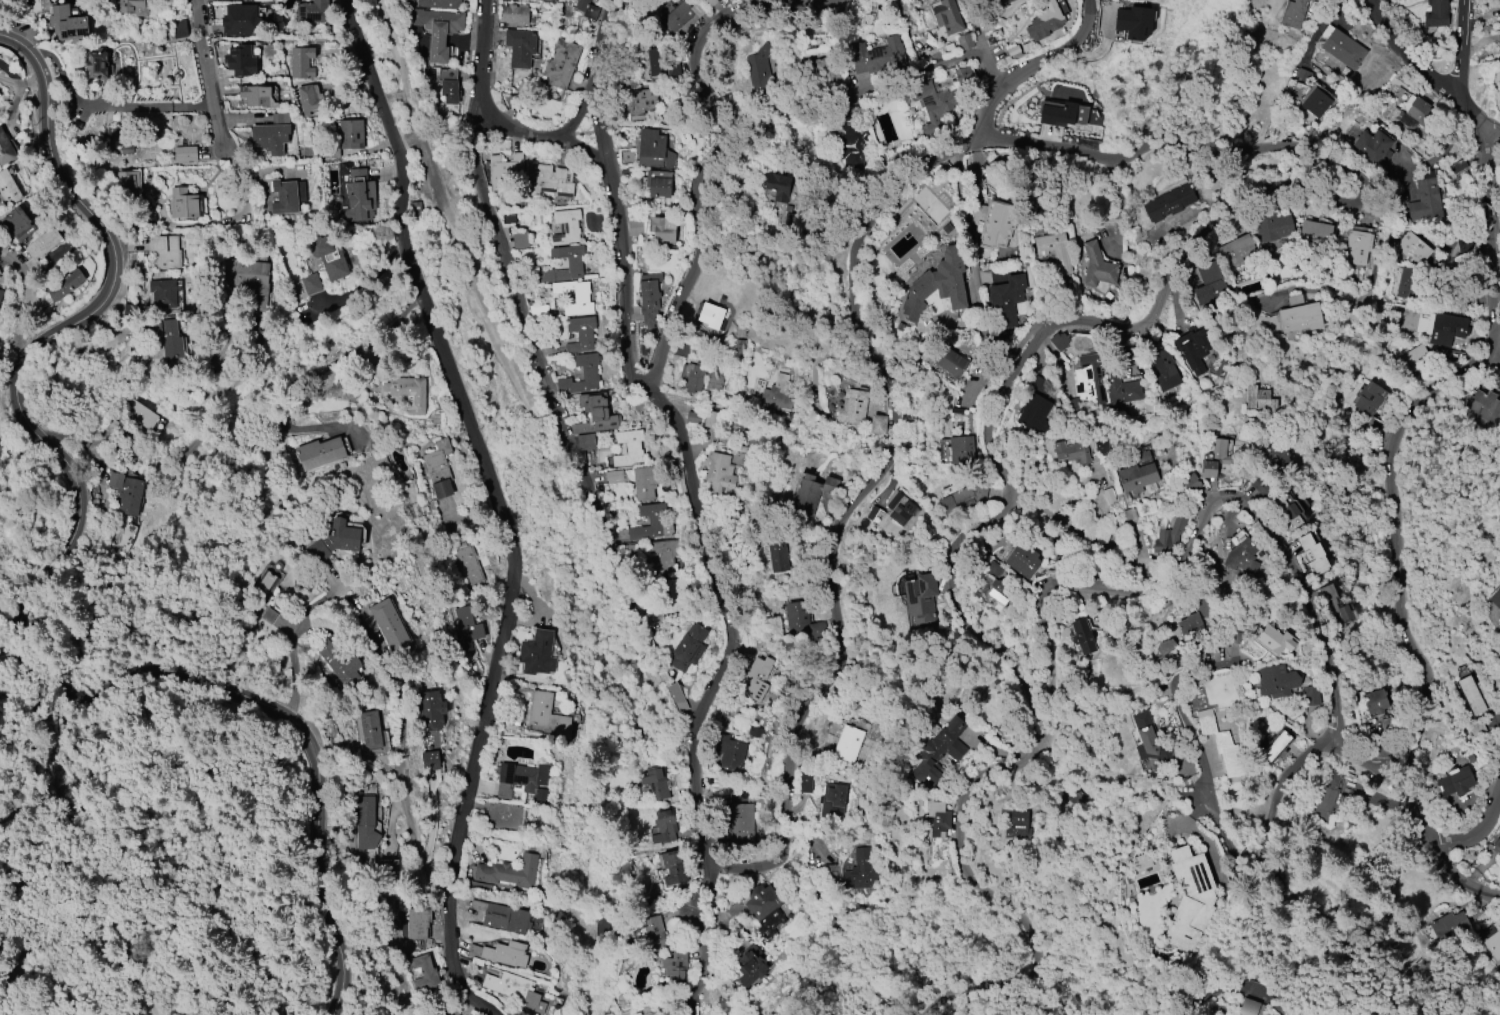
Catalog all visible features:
building: (407, 0)
building: (991, 0)
building: (266, 1)
building: (712, 2)
building: (439, 3)
building: (965, 4)
building: (134, 7)
building: (587, 9)
building: (314, 11)
building: (1293, 13)
building: (515, 14)
building: (683, 14)
building: (1436, 14)
building: (1048, 15)
building: (948, 17)
building: (241, 20)
building: (68, 24)
building: (1132, 24)
building: (180, 29)
building: (438, 30)
building: (1499, 37)
building: (965, 41)
road: (493, 44)
building: (520, 48)
building: (1344, 49)
road: (1459, 49)
road: (469, 52)
building: (876, 56)
building: (241, 60)
building: (302, 63)
building: (561, 63)
building: (662, 63)
building: (97, 65)
road: (1031, 66)
building: (759, 68)
road: (401, 69)
road: (925, 74)
road: (1429, 74)
building: (963, 75)
road: (208, 80)
building: (449, 84)
road: (20, 85)
road: (485, 87)
building: (257, 96)
building: (309, 98)
building: (354, 100)
building: (639, 103)
building: (1315, 103)
building: (931, 104)
road: (105, 107)
building: (1417, 110)
road: (459, 111)
building: (1069, 114)
road: (467, 118)
road: (502, 125)
road: (581, 132)
building: (271, 134)
building: (351, 134)
building: (854, 144)
building: (1372, 146)
road: (718, 147)
building: (5, 150)
building: (653, 150)
road: (588, 152)
building: (331, 153)
building: (185, 154)
building: (627, 157)
building: (504, 172)
road: (431, 173)
road: (892, 175)
building: (550, 181)
building: (658, 183)
building: (778, 186)
building: (8, 189)
building: (360, 194)
road: (613, 194)
building: (284, 197)
building: (1168, 202)
building: (1426, 202)
building: (186, 206)
road: (76, 209)
building: (17, 224)
building: (997, 224)
road: (847, 225)
building: (566, 226)
building: (1271, 226)
building: (663, 229)
building: (1315, 232)
building: (520, 239)
road: (1487, 240)
building: (1357, 247)
building: (1411, 247)
building: (40, 249)
building: (1054, 250)
building: (1235, 250)
building: (165, 251)
building: (826, 255)
building: (329, 258)
building: (574, 263)
building: (1097, 266)
building: (256, 282)
building: (1402, 282)
building: (65, 284)
building: (312, 284)
building: (1209, 284)
building: (937, 286)
building: (161, 292)
building: (0, 293)
building: (574, 296)
building: (649, 297)
road: (28, 300)
road: (520, 300)
building: (1005, 300)
building: (709, 315)
building: (1299, 315)
road: (488, 317)
road: (978, 329)
building: (1446, 329)
building: (581, 334)
building: (168, 338)
building: (1059, 341)
building: (1194, 349)
road: (1496, 354)
building: (1414, 357)
building: (950, 362)
building: (1163, 370)
building: (584, 372)
building: (715, 375)
building: (692, 378)
building: (1087, 378)
road: (300, 385)
road: (1007, 386)
building: (1120, 386)
building: (408, 392)
building: (778, 393)
building: (1369, 398)
building: (1260, 400)
building: (853, 407)
building: (1484, 409)
building: (1034, 413)
building: (140, 414)
building: (594, 414)
building: (710, 419)
building: (878, 424)
road: (81, 440)
building: (585, 442)
building: (1101, 445)
building: (628, 447)
building: (961, 450)
building: (1072, 451)
building: (321, 452)
building: (1215, 458)
building: (438, 469)
building: (613, 475)
building: (720, 475)
building: (1136, 477)
building: (644, 483)
building: (126, 492)
building: (811, 493)
building: (963, 498)
road: (498, 503)
road: (1207, 503)
building: (1289, 512)
building: (894, 515)
building: (656, 520)
building: (1168, 535)
building: (120, 537)
road: (1397, 538)
building: (335, 541)
road: (576, 541)
road: (1095, 541)
road: (610, 551)
building: (1313, 551)
building: (664, 554)
building: (778, 556)
building: (1243, 556)
building: (1022, 560)
building: (468, 564)
building: (266, 578)
road: (1142, 578)
building: (991, 585)
road: (31, 586)
building: (920, 596)
building: (1496, 599)
building: (1335, 607)
building: (270, 615)
building: (795, 615)
building: (1196, 617)
building: (391, 628)
building: (465, 629)
building: (1083, 636)
building: (1273, 638)
building: (688, 648)
road: (290, 649)
building: (1164, 650)
building: (537, 653)
building: (342, 668)
building: (756, 679)
building: (1276, 681)
building: (1310, 695)
building: (1471, 695)
building: (677, 697)
building: (1375, 701)
building: (545, 714)
building: (431, 718)
building: (370, 729)
building: (1147, 741)
building: (1220, 743)
road: (792, 744)
building: (848, 744)
building: (1275, 746)
building: (731, 752)
building: (939, 752)
road: (405, 757)
building: (431, 760)
building: (1455, 780)
building: (523, 781)
building: (655, 782)
building: (805, 783)
building: (1329, 793)
building: (833, 801)
building: (505, 817)
building: (939, 818)
road: (1222, 820)
building: (365, 822)
building: (740, 823)
building: (1018, 825)
building: (665, 827)
road: (1478, 836)
road: (1432, 844)
building: (1497, 845)
road: (264, 849)
building: (388, 868)
building: (673, 868)
building: (860, 871)
building: (509, 872)
building: (1190, 900)
building: (764, 909)
building: (502, 917)
building: (419, 923)
building: (1449, 926)
building: (652, 931)
building: (1493, 939)
road: (699, 940)
road: (86, 944)
building: (500, 953)
building: (750, 964)
building: (675, 967)
building: (426, 975)
building: (509, 985)
building: (1250, 1007)
building: (449, 1008)

